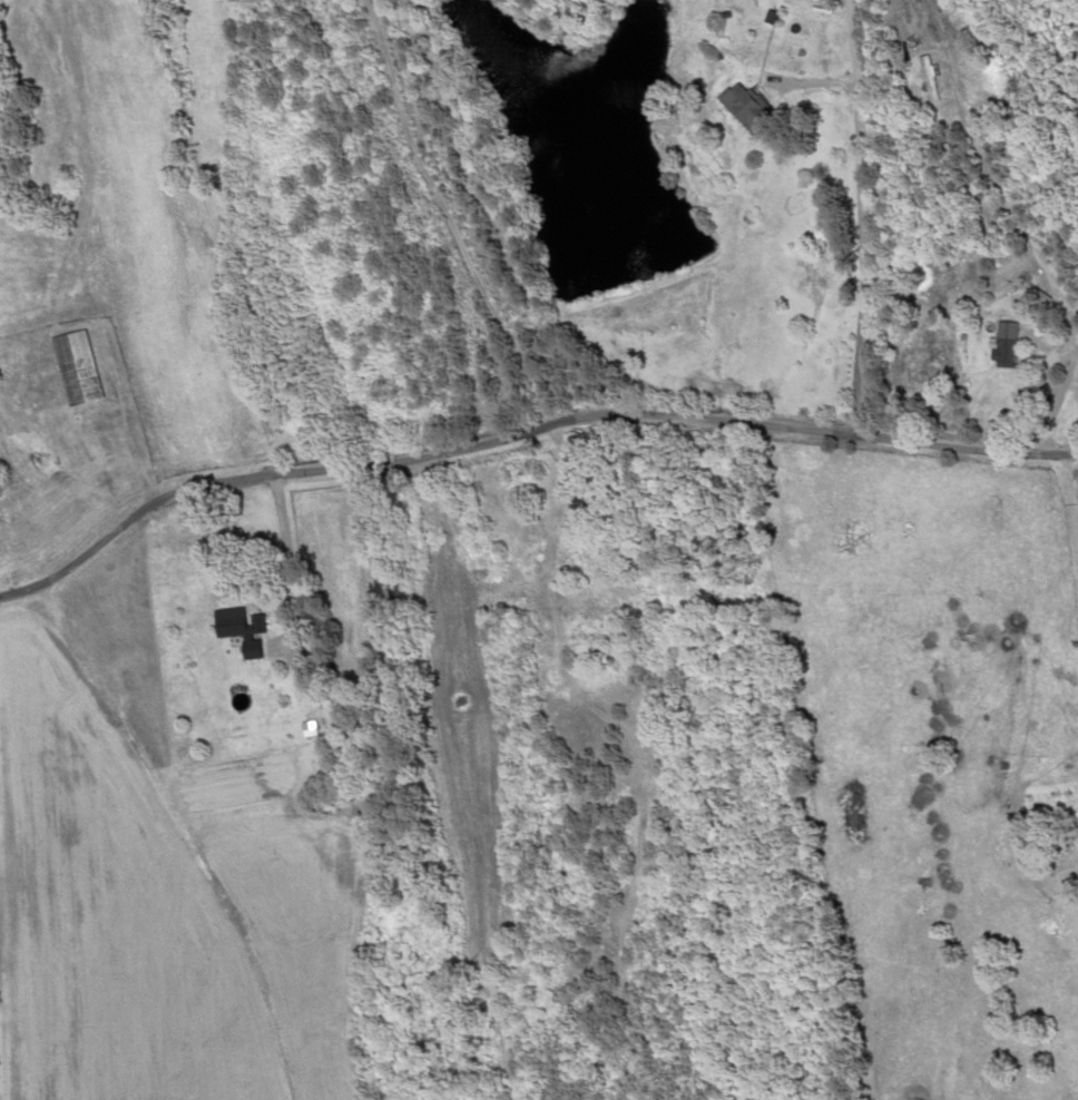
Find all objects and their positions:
building: (927, 79)
building: (741, 105)
building: (972, 186)
building: (1038, 292)
building: (1003, 345)
building: (73, 367)
road: (532, 454)
building: (238, 627)
building: (307, 727)

